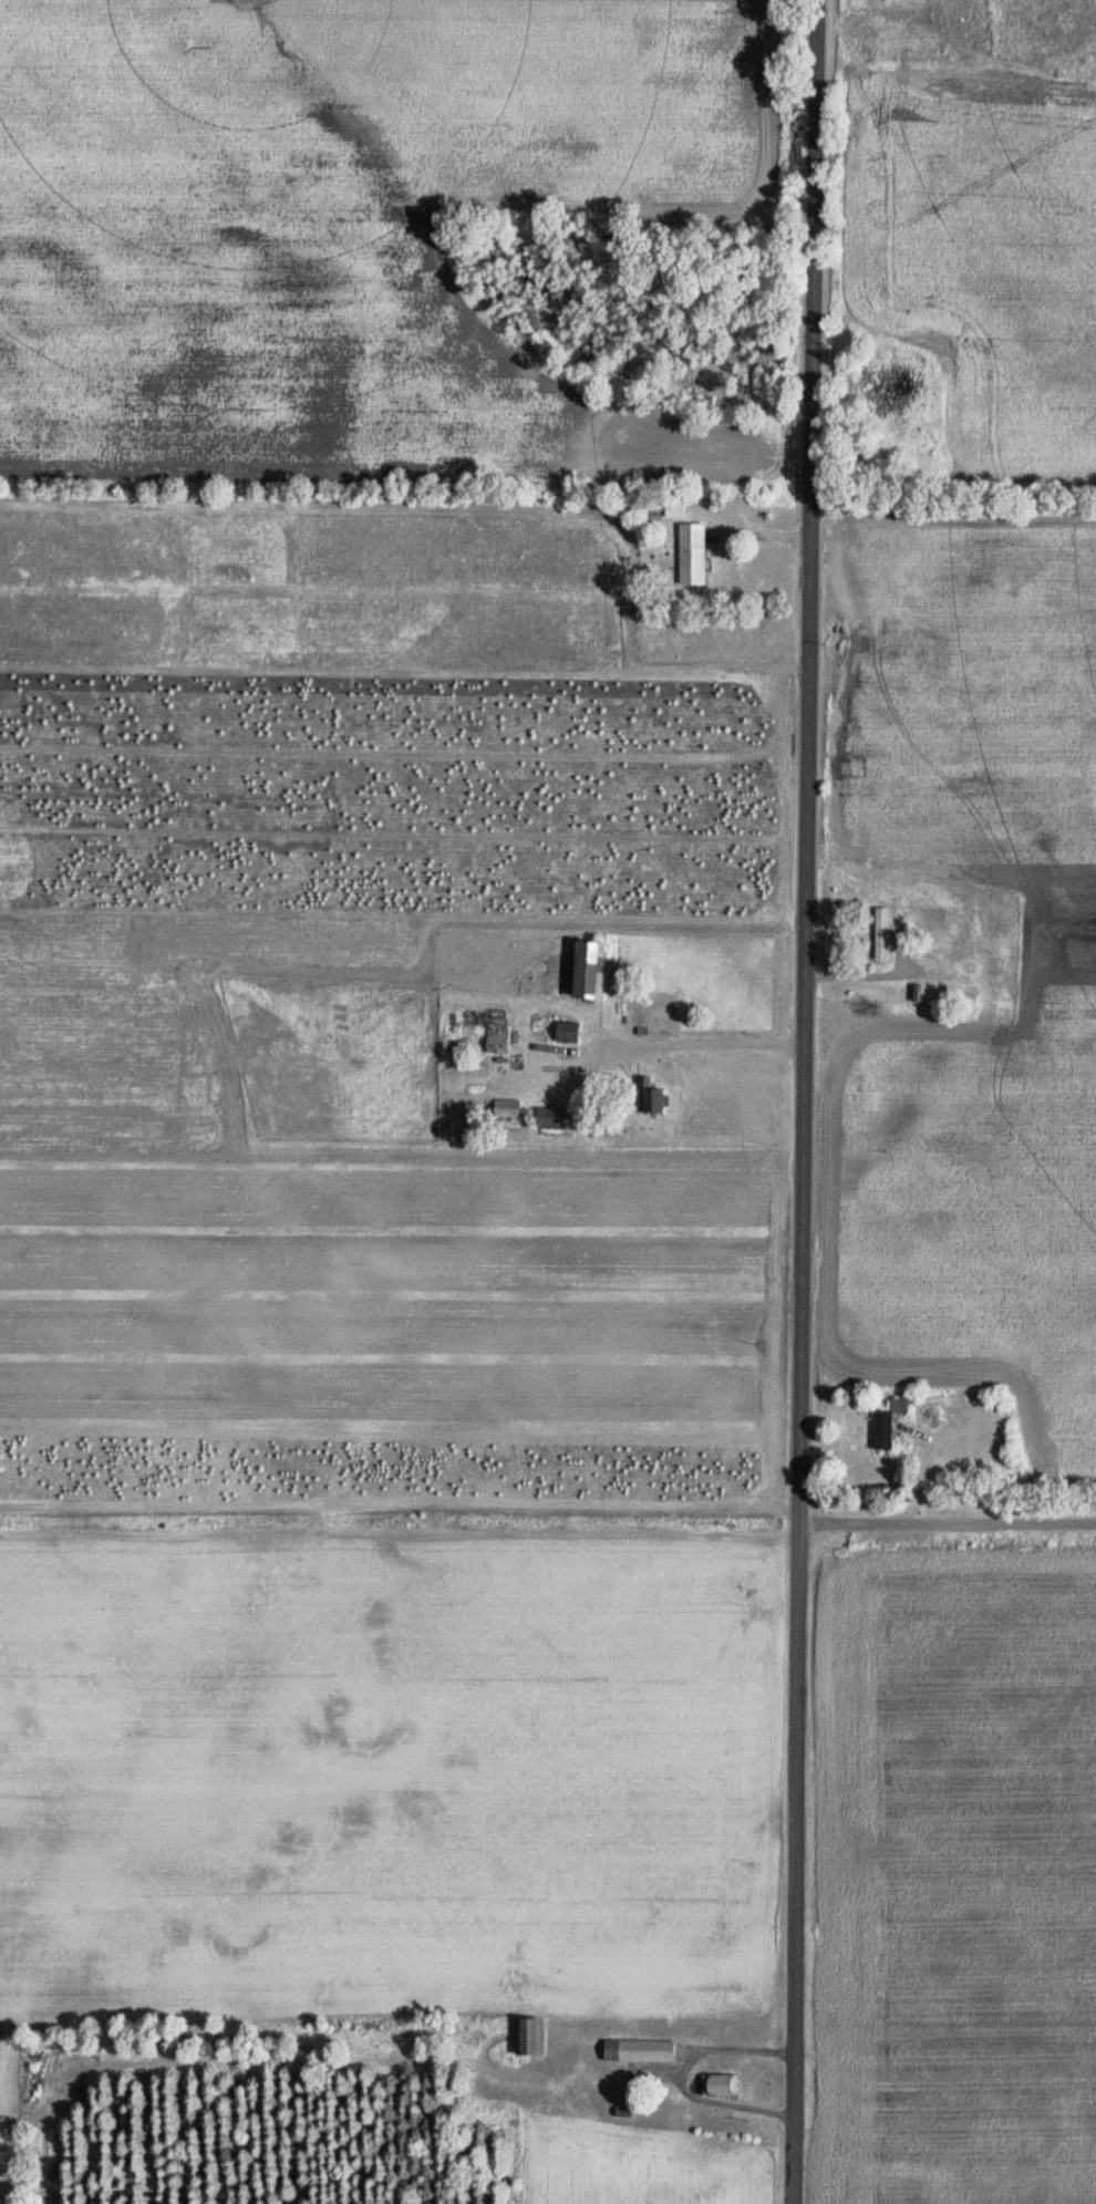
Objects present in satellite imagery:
building: (1028, 25)
building: (691, 555)
building: (879, 935)
building: (586, 970)
building: (914, 993)
building: (565, 1033)
building: (495, 1041)
road: (706, 1044)
building: (648, 1101)
road: (802, 1101)
building: (505, 1109)
building: (558, 1119)
building: (888, 1426)
road: (947, 1519)
building: (525, 2035)
building: (635, 2050)
building: (718, 2086)

